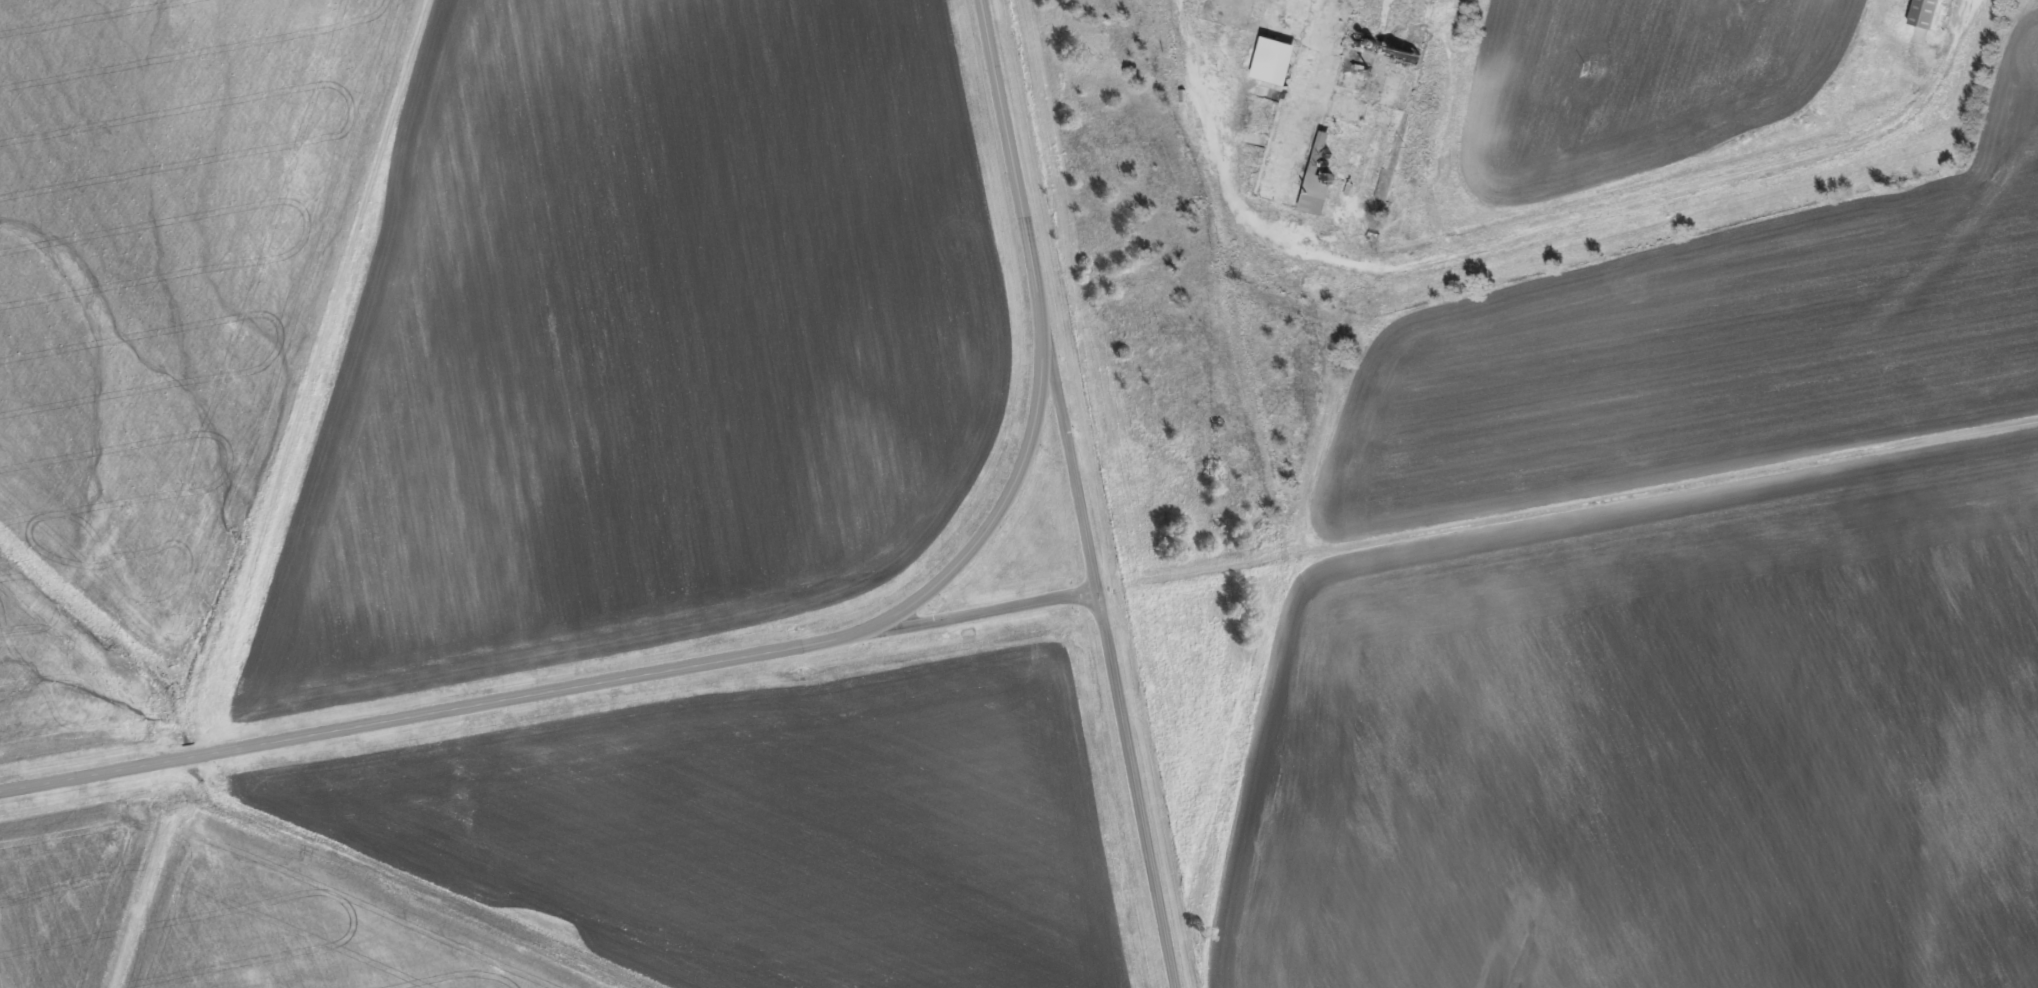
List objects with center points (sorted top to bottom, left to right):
building: (1923, 13)
building: (1277, 61)
road: (1431, 118)
road: (1021, 158)
road: (1217, 175)
road: (1550, 214)
road: (1080, 455)
road: (1666, 488)
road: (266, 492)
road: (1013, 508)
railway: (1254, 614)
road: (986, 615)
building: (1155, 624)
road: (432, 713)
road: (1145, 791)

